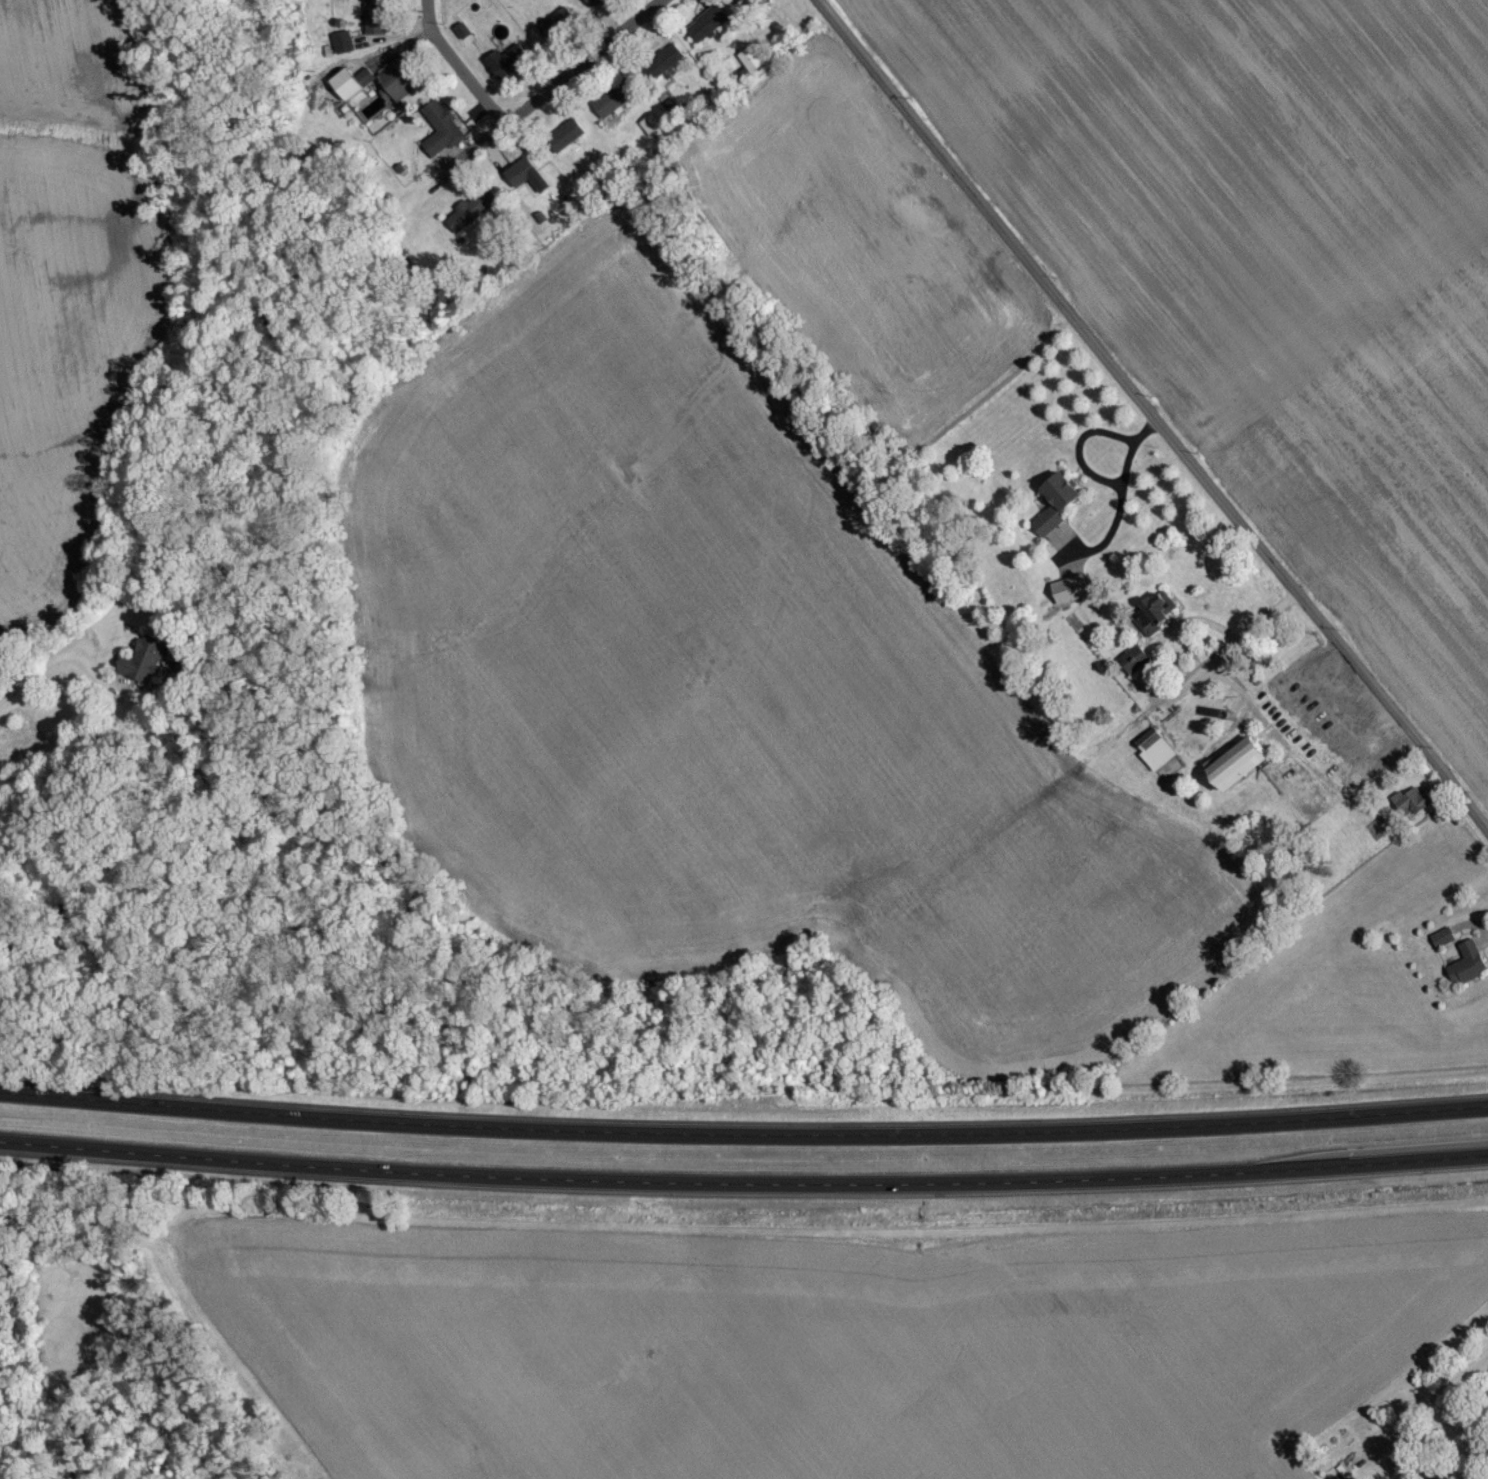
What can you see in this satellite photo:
building: (749, 2)
building: (594, 4)
building: (375, 22)
building: (707, 29)
building: (558, 32)
building: (751, 65)
building: (509, 67)
building: (664, 70)
road: (453, 73)
building: (400, 85)
building: (347, 90)
road: (556, 94)
building: (616, 102)
building: (701, 110)
building: (440, 132)
building: (565, 141)
building: (521, 178)
building: (477, 211)
road: (1148, 418)
road: (1080, 447)
road: (1122, 498)
building: (1057, 516)
road: (1170, 628)
road: (1229, 646)
building: (146, 666)
road: (41, 669)
building: (1155, 754)
building: (1239, 769)
building: (1415, 808)
building: (1443, 943)
building: (1468, 970)
road: (743, 1136)
road: (743, 1188)
road: (1441, 1396)

